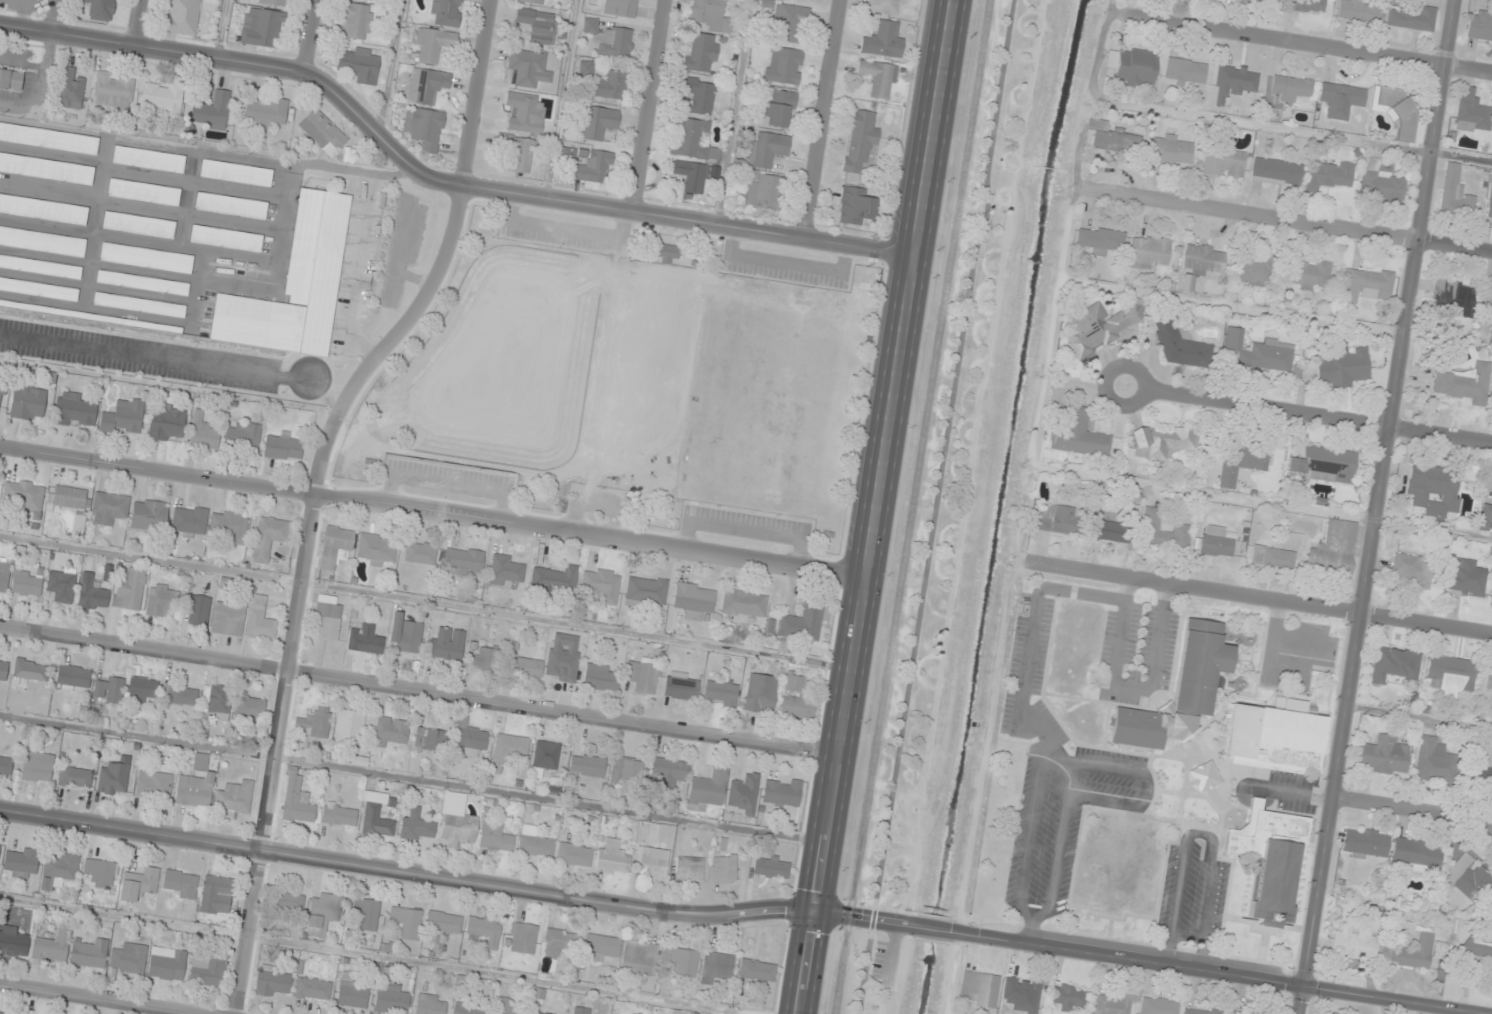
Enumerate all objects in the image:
building: (1264, 0)
building: (535, 1)
building: (273, 2)
building: (1308, 5)
building: (883, 6)
building: (620, 8)
building: (100, 9)
building: (1358, 10)
building: (445, 12)
building: (712, 15)
building: (183, 17)
building: (1411, 17)
road: (52, 18)
building: (355, 21)
building: (790, 22)
road: (137, 23)
building: (539, 25)
building: (1479, 25)
building: (262, 28)
road: (221, 29)
road: (310, 35)
building: (610, 39)
building: (883, 40)
building: (432, 45)
road: (1308, 45)
building: (701, 52)
building: (360, 64)
building: (783, 65)
road: (389, 67)
building: (1136, 67)
building: (528, 68)
building: (587, 68)
building: (1185, 70)
building: (878, 78)
building: (11, 79)
building: (1238, 80)
building: (426, 85)
building: (610, 85)
road: (40, 87)
building: (1290, 88)
building: (70, 89)
building: (114, 90)
building: (699, 94)
building: (164, 97)
building: (1341, 99)
road: (560, 100)
road: (649, 106)
building: (779, 108)
building: (1397, 109)
building: (212, 111)
building: (525, 111)
building: (267, 112)
road: (734, 112)
building: (1472, 112)
road: (822, 119)
building: (599, 122)
building: (424, 128)
building: (322, 131)
building: (48, 138)
building: (1113, 138)
building: (692, 139)
building: (860, 140)
building: (766, 149)
building: (1171, 149)
building: (518, 152)
building: (148, 159)
building: (1222, 161)
building: (593, 166)
building: (46, 168)
building: (1275, 171)
building: (236, 172)
building: (1328, 174)
building: (693, 176)
road: (437, 182)
building: (1381, 182)
building: (143, 192)
building: (766, 192)
building: (1455, 192)
building: (1490, 203)
building: (231, 205)
building: (855, 206)
building: (43, 208)
road: (1286, 221)
building: (138, 225)
road: (562, 230)
parking lot: (563, 233)
building: (226, 238)
building: (43, 240)
building: (1100, 240)
building: (665, 250)
building: (1148, 252)
building: (146, 257)
building: (1201, 262)
road: (783, 263)
building: (40, 266)
parking lot: (784, 267)
building: (1256, 271)
building: (1310, 274)
building: (1370, 280)
building: (142, 282)
building: (295, 285)
building: (39, 288)
building: (1455, 296)
building: (139, 304)
building: (1491, 310)
building: (1100, 326)
building: (1181, 347)
building: (1260, 352)
parking lot: (139, 355)
road: (152, 357)
park: (516, 358)
building: (1345, 369)
park: (650, 377)
park: (629, 382)
road: (1104, 383)
building: (1463, 384)
building: (2, 393)
park: (786, 399)
building: (27, 401)
building: (74, 410)
building: (123, 416)
road: (1321, 417)
building: (166, 422)
building: (203, 432)
building: (243, 436)
building: (1080, 436)
building: (1164, 442)
building: (283, 448)
building: (1242, 462)
building: (1325, 464)
parking lot: (448, 479)
road: (446, 482)
road: (314, 489)
building: (1434, 489)
building: (24, 495)
building: (66, 498)
road: (597, 502)
road: (876, 506)
road: (934, 506)
road: (1377, 506)
railway: (912, 507)
building: (108, 508)
road: (432, 514)
building: (148, 515)
building: (1485, 516)
building: (1055, 519)
building: (189, 521)
parking lot: (744, 525)
building: (228, 526)
road: (744, 527)
building: (1109, 528)
building: (1163, 533)
building: (269, 538)
building: (1215, 542)
building: (336, 547)
building: (376, 549)
building: (1334, 550)
building: (420, 552)
building: (1272, 557)
building: (463, 561)
building: (504, 570)
building: (1412, 570)
building: (4, 576)
building: (1466, 578)
building: (556, 581)
building: (26, 583)
building: (602, 584)
building: (61, 586)
building: (129, 590)
building: (644, 591)
building: (92, 594)
building: (161, 600)
building: (694, 600)
road: (1261, 600)
road: (426, 601)
building: (744, 603)
building: (196, 610)
building: (328, 617)
building: (260, 618)
building: (228, 619)
building: (802, 623)
building: (405, 635)
building: (365, 640)
building: (448, 644)
building: (563, 657)
building: (485, 658)
building: (1394, 665)
building: (3, 666)
building: (528, 667)
building: (30, 671)
building: (641, 675)
building: (1450, 675)
building: (602, 677)
building: (73, 678)
building: (794, 682)
building: (1488, 683)
building: (108, 688)
building: (142, 688)
building: (681, 688)
building: (1179, 690)
road: (420, 692)
building: (721, 693)
building: (760, 693)
building: (179, 694)
building: (214, 703)
building: (798, 707)
building: (249, 708)
building: (313, 723)
building: (349, 725)
building: (390, 731)
building: (470, 738)
building: (1274, 739)
building: (430, 740)
building: (508, 750)
building: (546, 755)
building: (1384, 755)
building: (1436, 762)
building: (5, 766)
building: (587, 766)
building: (37, 767)
building: (626, 770)
building: (668, 773)
building: (1483, 774)
building: (74, 777)
building: (113, 778)
road: (413, 778)
building: (195, 784)
building: (153, 785)
building: (707, 789)
building: (782, 791)
building: (744, 793)
building: (234, 797)
building: (296, 799)
road: (1414, 811)
building: (339, 816)
building: (376, 816)
building: (456, 822)
building: (417, 826)
building: (495, 836)
building: (534, 842)
building: (1366, 842)
building: (0, 844)
building: (1416, 854)
building: (574, 855)
building: (612, 857)
building: (1270, 861)
building: (20, 862)
building: (650, 865)
building: (771, 866)
building: (689, 869)
building: (723, 869)
building: (59, 870)
building: (98, 870)
building: (1468, 877)
road: (454, 880)
building: (139, 884)
building: (180, 884)
building: (216, 895)
building: (287, 902)
traffic signals: (815, 911)
building: (367, 913)
building: (322, 914)
building: (405, 922)
building: (443, 922)
building: (484, 930)
road: (938, 930)
building: (522, 938)
building: (13, 941)
building: (1355, 942)
building: (559, 943)
building: (1479, 945)
building: (52, 946)
building: (600, 947)
building: (1414, 947)
building: (88, 952)
road: (371, 955)
building: (128, 959)
building: (639, 960)
building: (679, 961)
building: (167, 964)
building: (716, 967)
building: (757, 970)
building: (207, 971)
road: (1225, 974)
building: (273, 982)
building: (869, 985)
building: (313, 989)
building: (979, 990)
building: (351, 992)
building: (1023, 994)
building: (391, 995)
building: (1069, 997)
road: (91, 1000)
building: (430, 1004)
building: (1112, 1004)
building: (506, 1007)
building: (1158, 1007)
building: (469, 1009)
building: (581, 1010)
building: (1201, 1010)
building: (2, 1013)
building: (537, 1013)

